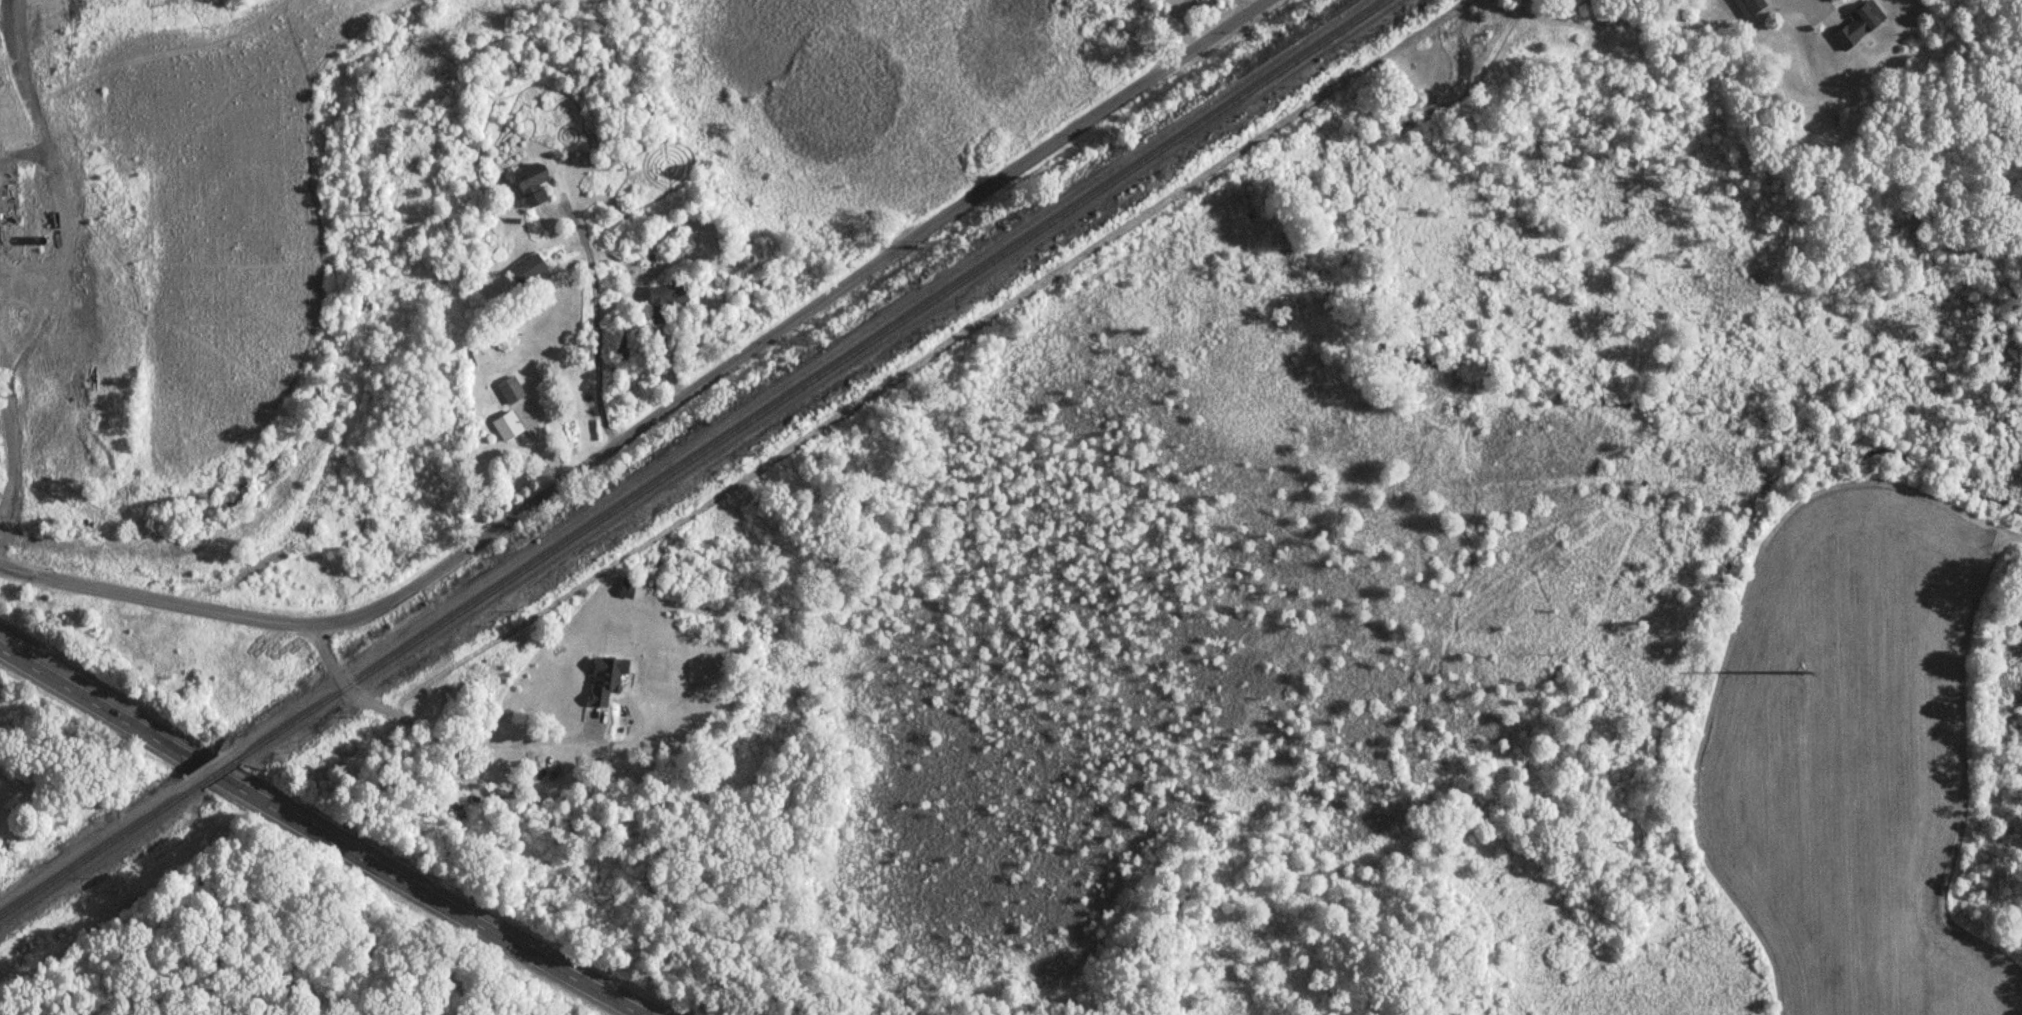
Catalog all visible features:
building: (1753, 5)
road: (1820, 7)
building: (1859, 24)
road: (5, 50)
building: (531, 185)
building: (42, 208)
crop: (231, 213)
building: (527, 271)
building: (665, 303)
road: (595, 321)
railway: (804, 378)
building: (510, 392)
road: (8, 412)
road: (662, 413)
building: (506, 427)
building: (627, 589)
power tower: (1801, 673)
building: (605, 680)
road: (470, 759)
railway: (218, 771)
road: (320, 833)
railway: (99, 850)

